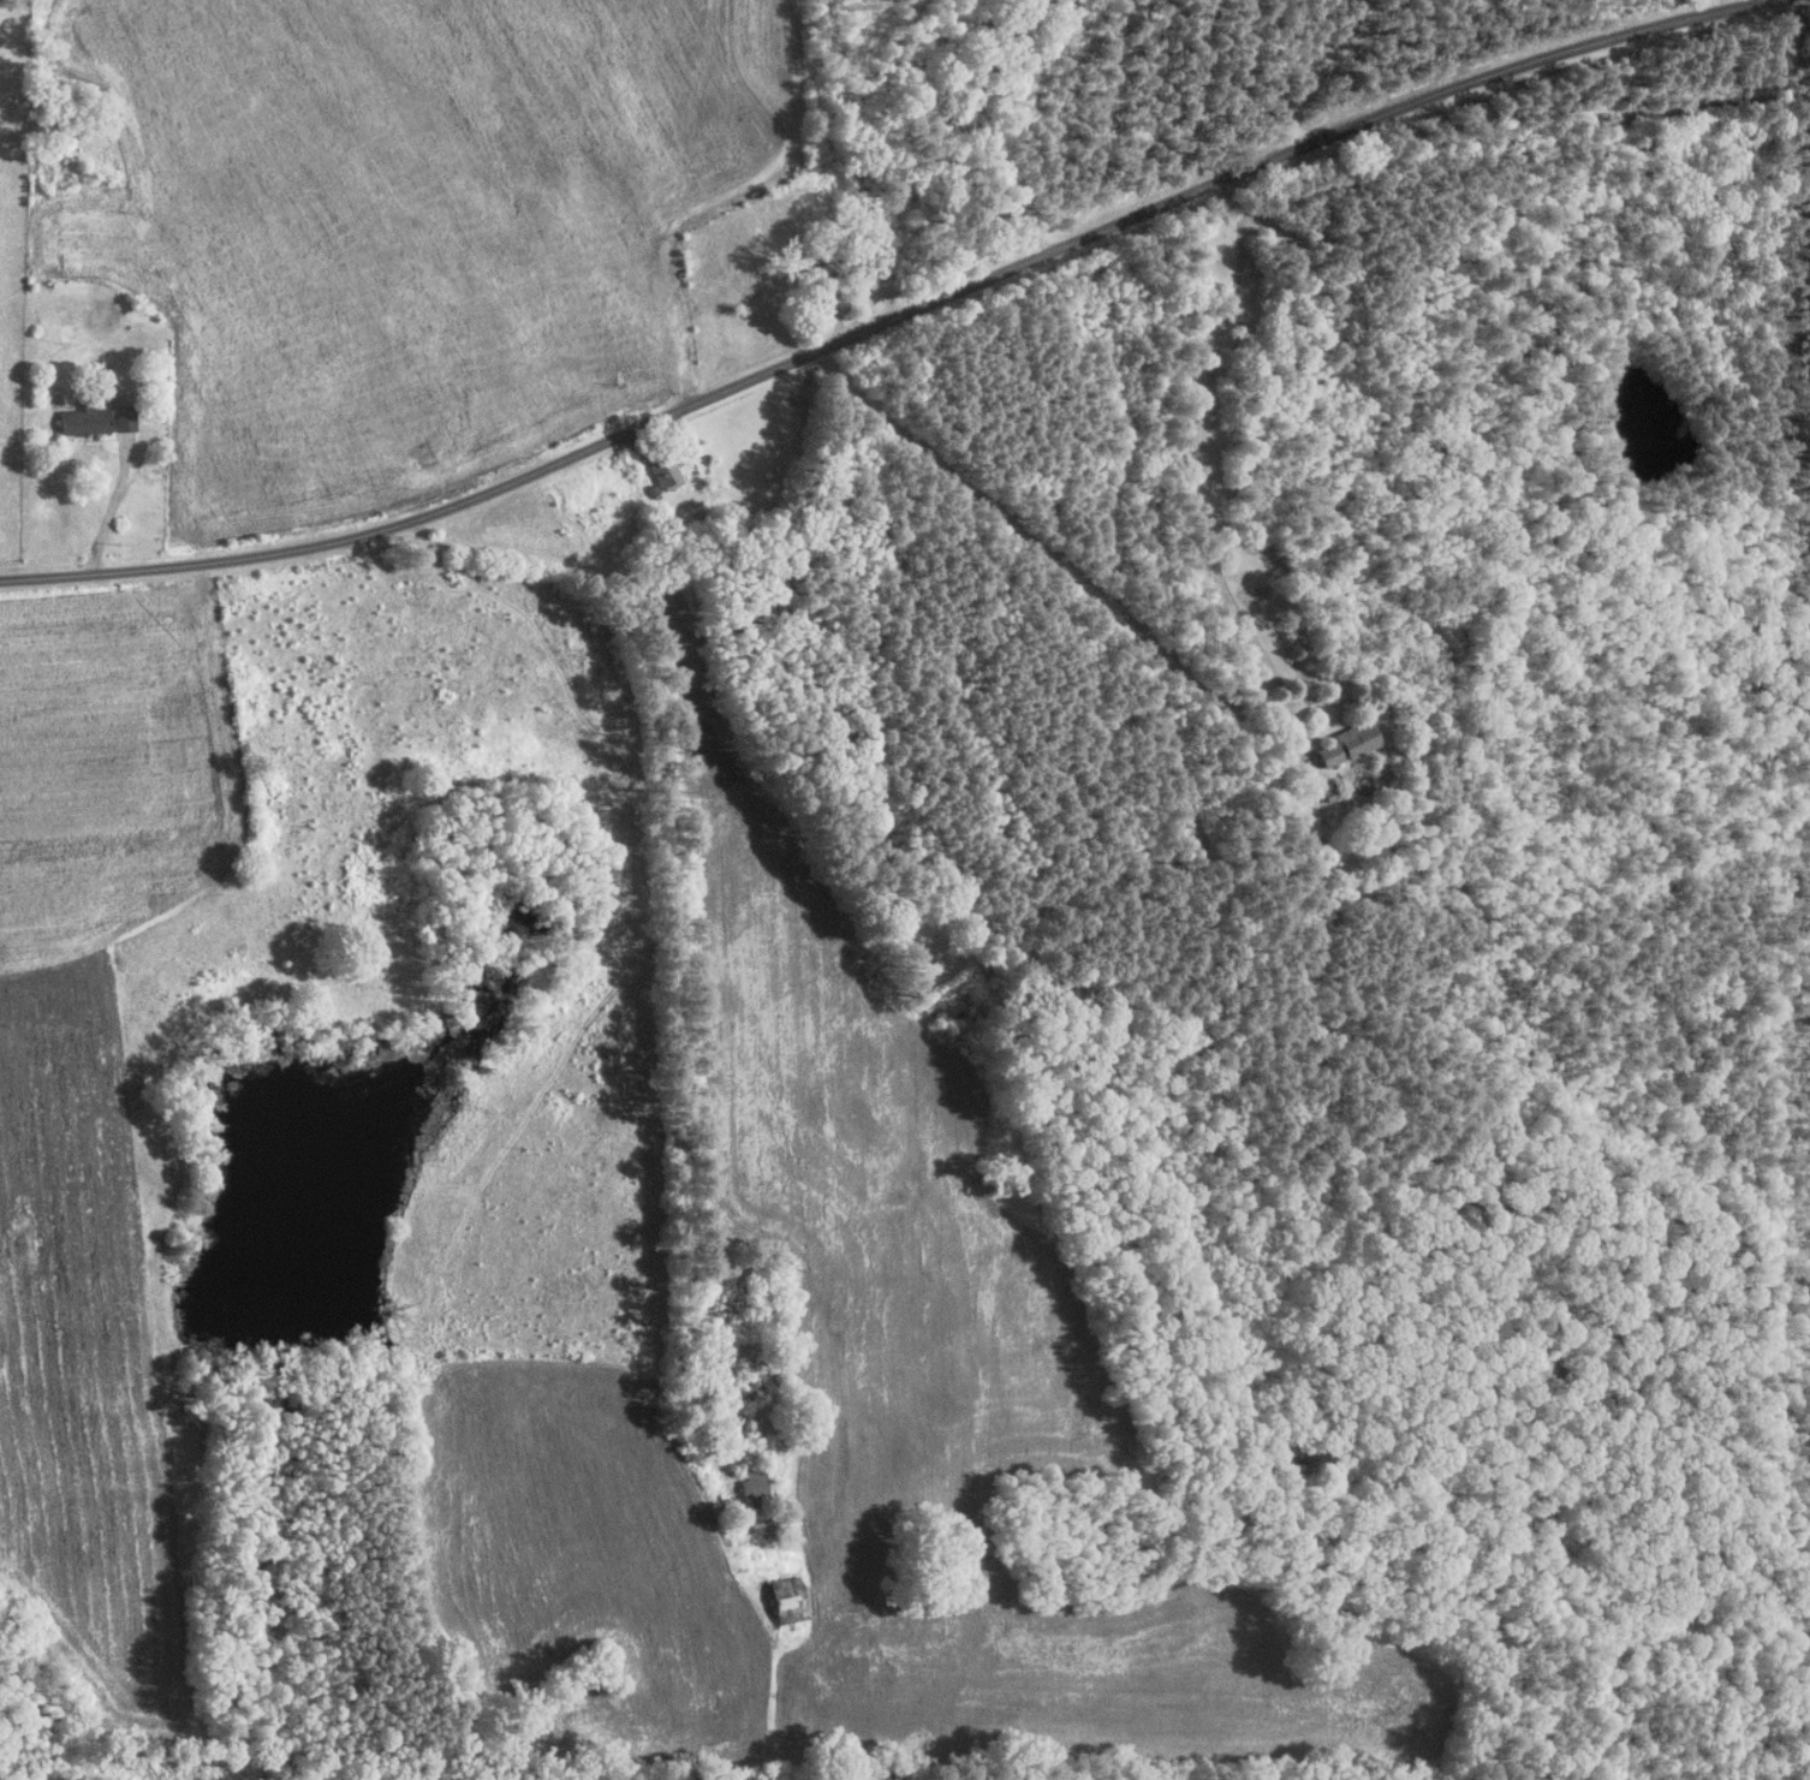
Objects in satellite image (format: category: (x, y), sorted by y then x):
road: (898, 320)
building: (1347, 746)
building: (733, 1382)
building: (755, 1489)
building: (786, 1602)

